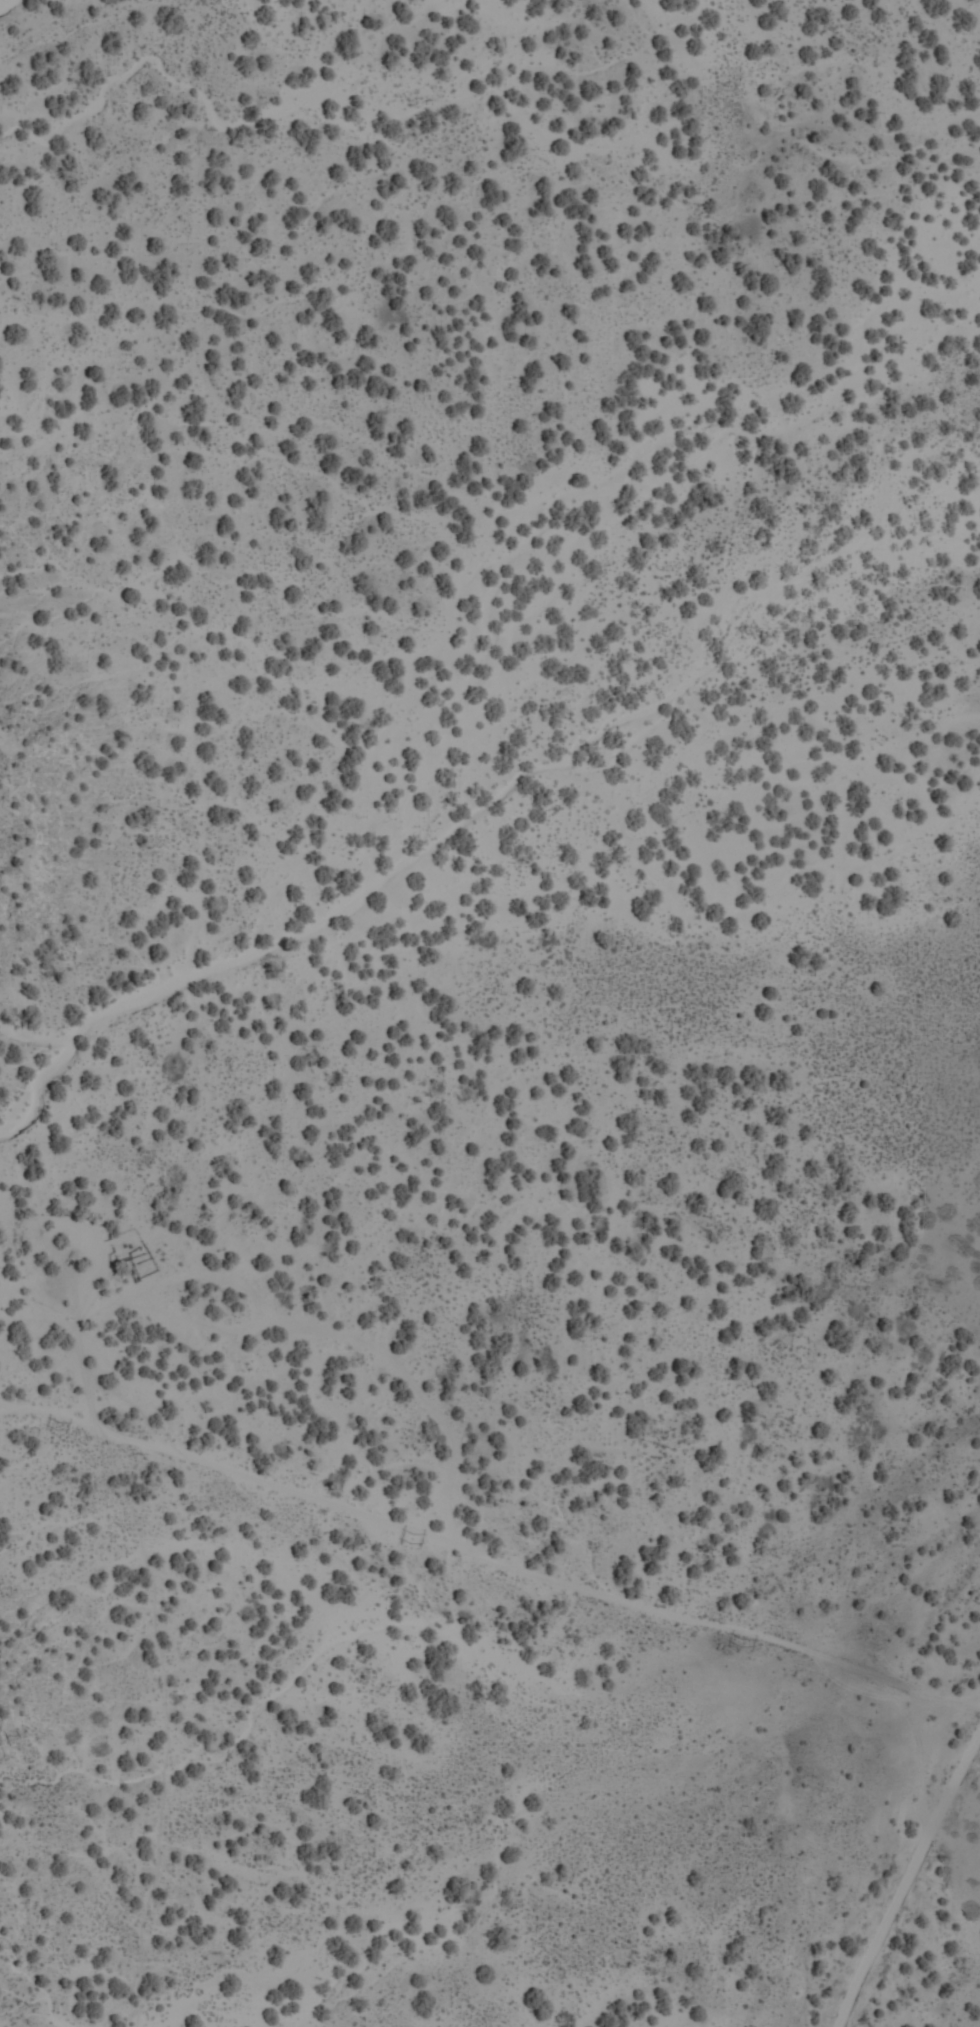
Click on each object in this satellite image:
power tower: (56, 1425)
power tower: (411, 1538)
power tower: (742, 1639)
road: (564, 1728)

